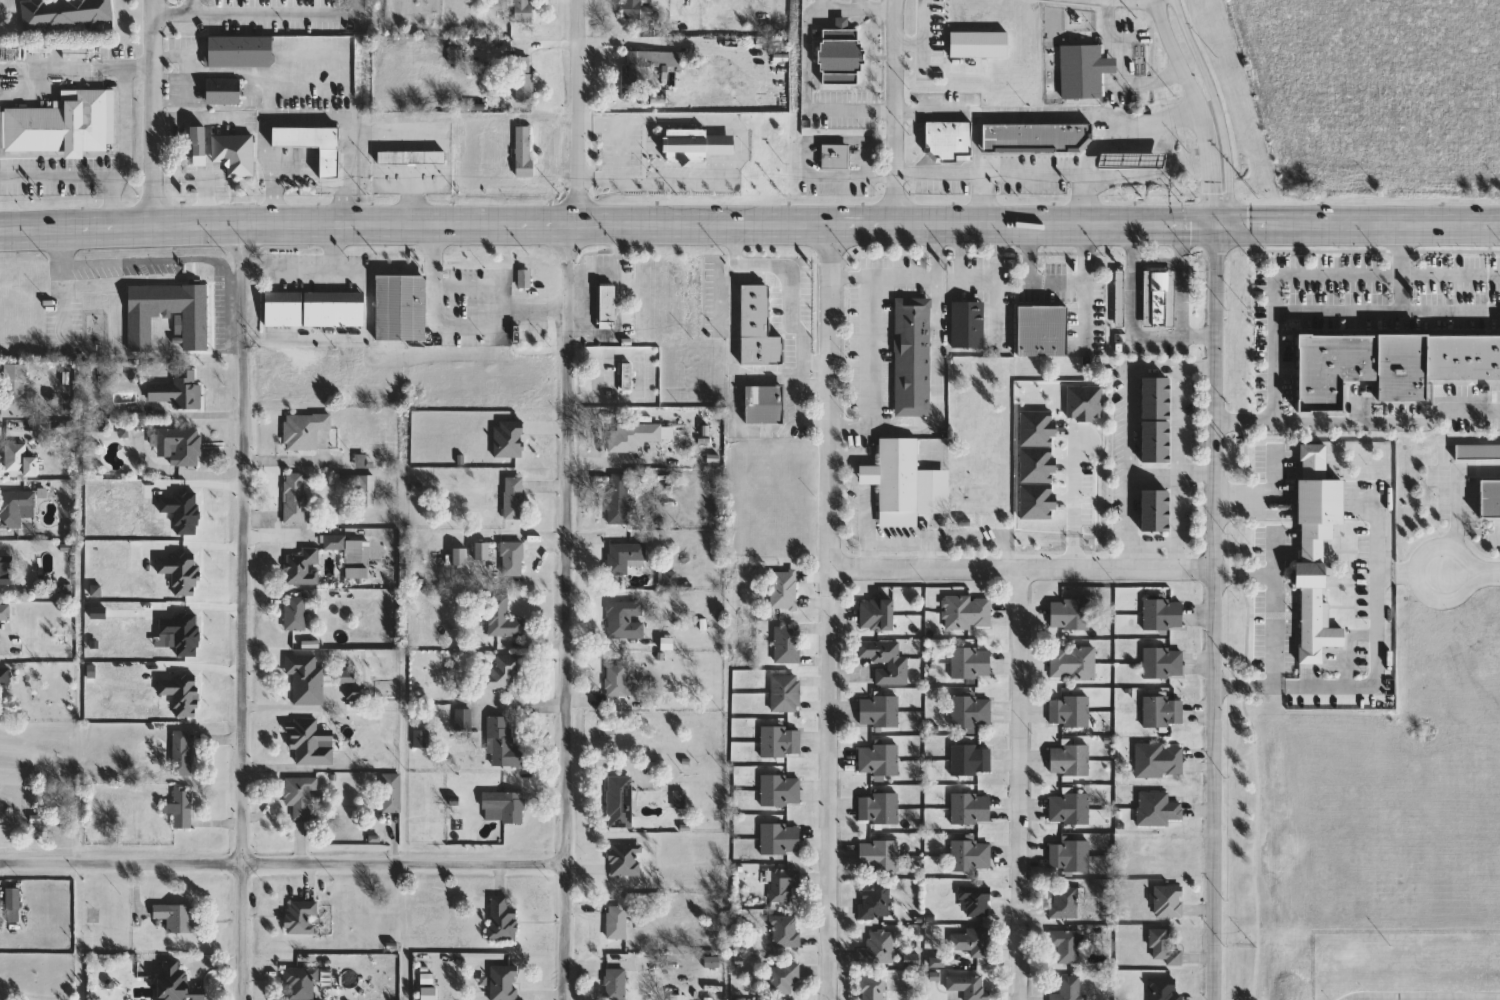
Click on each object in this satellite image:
road: (193, 7)
building: (633, 9)
building: (523, 11)
building: (67, 13)
road: (258, 13)
road: (587, 41)
building: (977, 41)
road: (651, 43)
building: (240, 52)
building: (841, 55)
road: (189, 60)
road: (62, 65)
building: (1082, 69)
road: (1121, 70)
building: (638, 71)
building: (524, 79)
road: (326, 86)
building: (222, 91)
road: (171, 101)
road: (1196, 101)
road: (1216, 101)
road: (123, 109)
road: (577, 111)
road: (897, 111)
road: (153, 113)
road: (1049, 115)
road: (304, 117)
building: (0, 121)
building: (64, 124)
building: (1035, 136)
building: (948, 139)
building: (694, 143)
building: (198, 145)
road: (208, 145)
building: (312, 145)
road: (737, 147)
building: (633, 149)
building: (524, 151)
building: (235, 153)
building: (835, 156)
building: (411, 157)
road: (868, 157)
road: (1061, 175)
road: (82, 178)
road: (984, 200)
road: (1080, 201)
road: (1220, 217)
road: (749, 224)
traffic signals: (1220, 227)
road: (1134, 242)
road: (1185, 243)
road: (1400, 250)
road: (1159, 259)
road: (154, 267)
road: (310, 271)
road: (349, 271)
road: (928, 272)
road: (1318, 274)
building: (525, 278)
road: (1053, 282)
road: (59, 292)
road: (1184, 296)
building: (1118, 297)
building: (1158, 298)
building: (607, 304)
building: (400, 307)
building: (315, 310)
building: (168, 314)
road: (1386, 314)
road: (469, 325)
building: (968, 325)
building: (758, 328)
building: (1042, 331)
road: (1140, 332)
road: (340, 341)
road: (874, 350)
building: (913, 357)
building: (1388, 364)
building: (628, 377)
road: (936, 381)
building: (14, 390)
building: (179, 391)
building: (1083, 401)
building: (764, 404)
building: (1155, 420)
road: (1359, 420)
road: (1127, 426)
building: (1034, 427)
building: (305, 431)
building: (634, 437)
building: (180, 447)
building: (1478, 452)
road: (840, 455)
building: (20, 461)
building: (1034, 464)
road: (854, 470)
road: (1172, 477)
building: (905, 484)
building: (368, 491)
building: (515, 496)
building: (296, 498)
building: (619, 499)
building: (1490, 499)
building: (1034, 501)
road: (1456, 501)
road: (1073, 505)
building: (14, 507)
building: (1155, 511)
road: (1374, 541)
road: (920, 543)
building: (351, 549)
building: (1315, 550)
building: (624, 556)
road: (866, 556)
road: (926, 556)
building: (512, 559)
building: (304, 567)
building: (6, 571)
road: (1023, 571)
road: (1417, 571)
road: (1470, 571)
road: (1244, 574)
building: (784, 590)
road: (565, 611)
road: (830, 611)
building: (5, 612)
road: (244, 612)
building: (295, 613)
building: (969, 613)
road: (1216, 613)
building: (876, 614)
building: (1071, 614)
building: (1163, 614)
building: (503, 617)
building: (626, 620)
road: (1272, 631)
building: (788, 645)
building: (971, 663)
building: (1073, 663)
building: (1163, 663)
building: (898, 665)
building: (502, 672)
building: (5, 676)
building: (306, 678)
building: (617, 680)
road: (1373, 681)
building: (356, 691)
building: (786, 693)
building: (879, 711)
building: (971, 711)
building: (1070, 711)
building: (1163, 711)
building: (463, 720)
building: (422, 738)
building: (308, 742)
building: (781, 742)
building: (502, 743)
building: (182, 753)
building: (971, 759)
building: (1070, 759)
building: (879, 760)
building: (1159, 760)
road: (1019, 785)
building: (781, 790)
building: (392, 793)
building: (301, 797)
building: (621, 802)
building: (504, 807)
building: (181, 808)
building: (879, 809)
building: (971, 809)
building: (1070, 809)
building: (1157, 809)
building: (781, 839)
building: (971, 856)
building: (1070, 856)
building: (879, 857)
building: (626, 860)
road: (283, 866)
building: (784, 884)
building: (13, 899)
building: (875, 902)
building: (976, 902)
building: (1065, 902)
building: (1168, 902)
building: (176, 918)
building: (302, 918)
building: (503, 919)
building: (618, 923)
building: (786, 931)
building: (972, 943)
building: (1067, 946)
building: (1165, 947)
building: (878, 949)
building: (783, 980)
building: (302, 982)
building: (176, 983)
building: (504, 983)
building: (616, 984)
building: (968, 986)
building: (873, 989)
building: (1070, 989)
building: (1163, 989)
road: (1417, 995)

